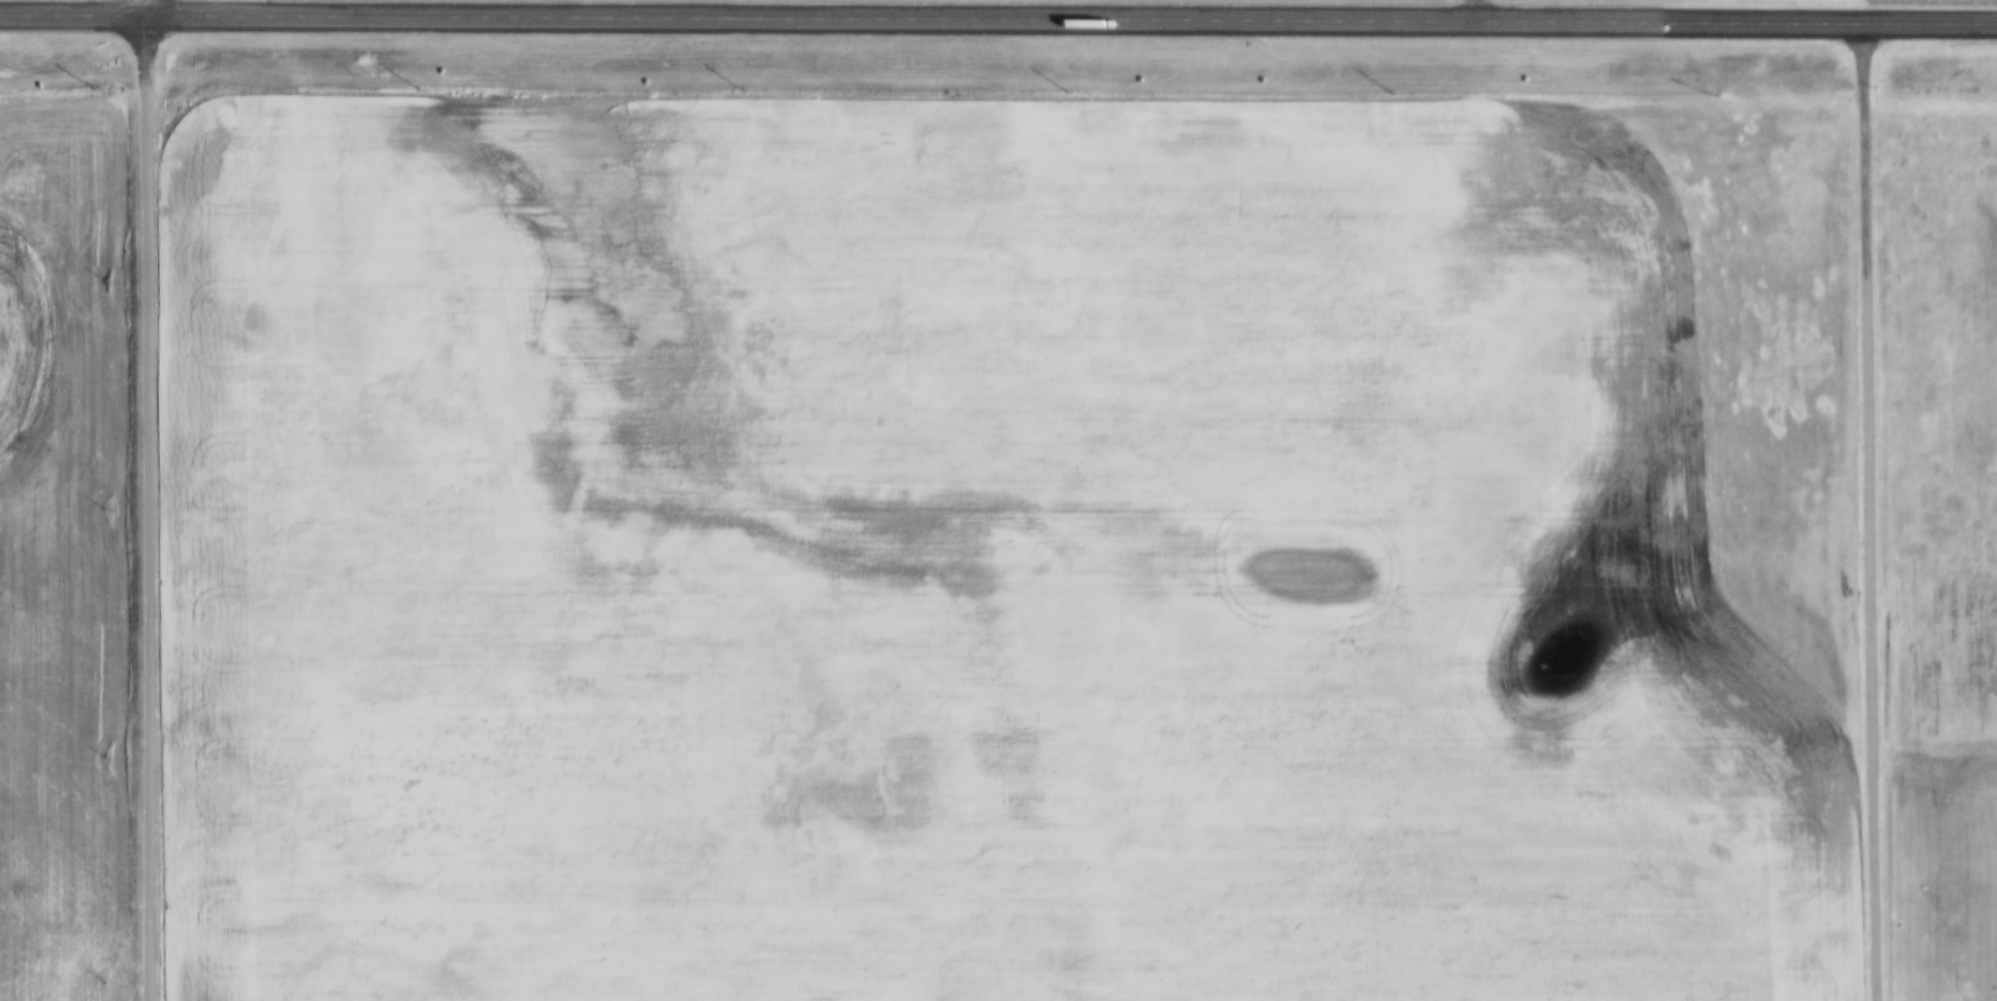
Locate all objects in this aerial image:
road: (151, 5)
road: (998, 14)
building: (1688, 19)
road: (151, 505)
road: (1874, 509)

